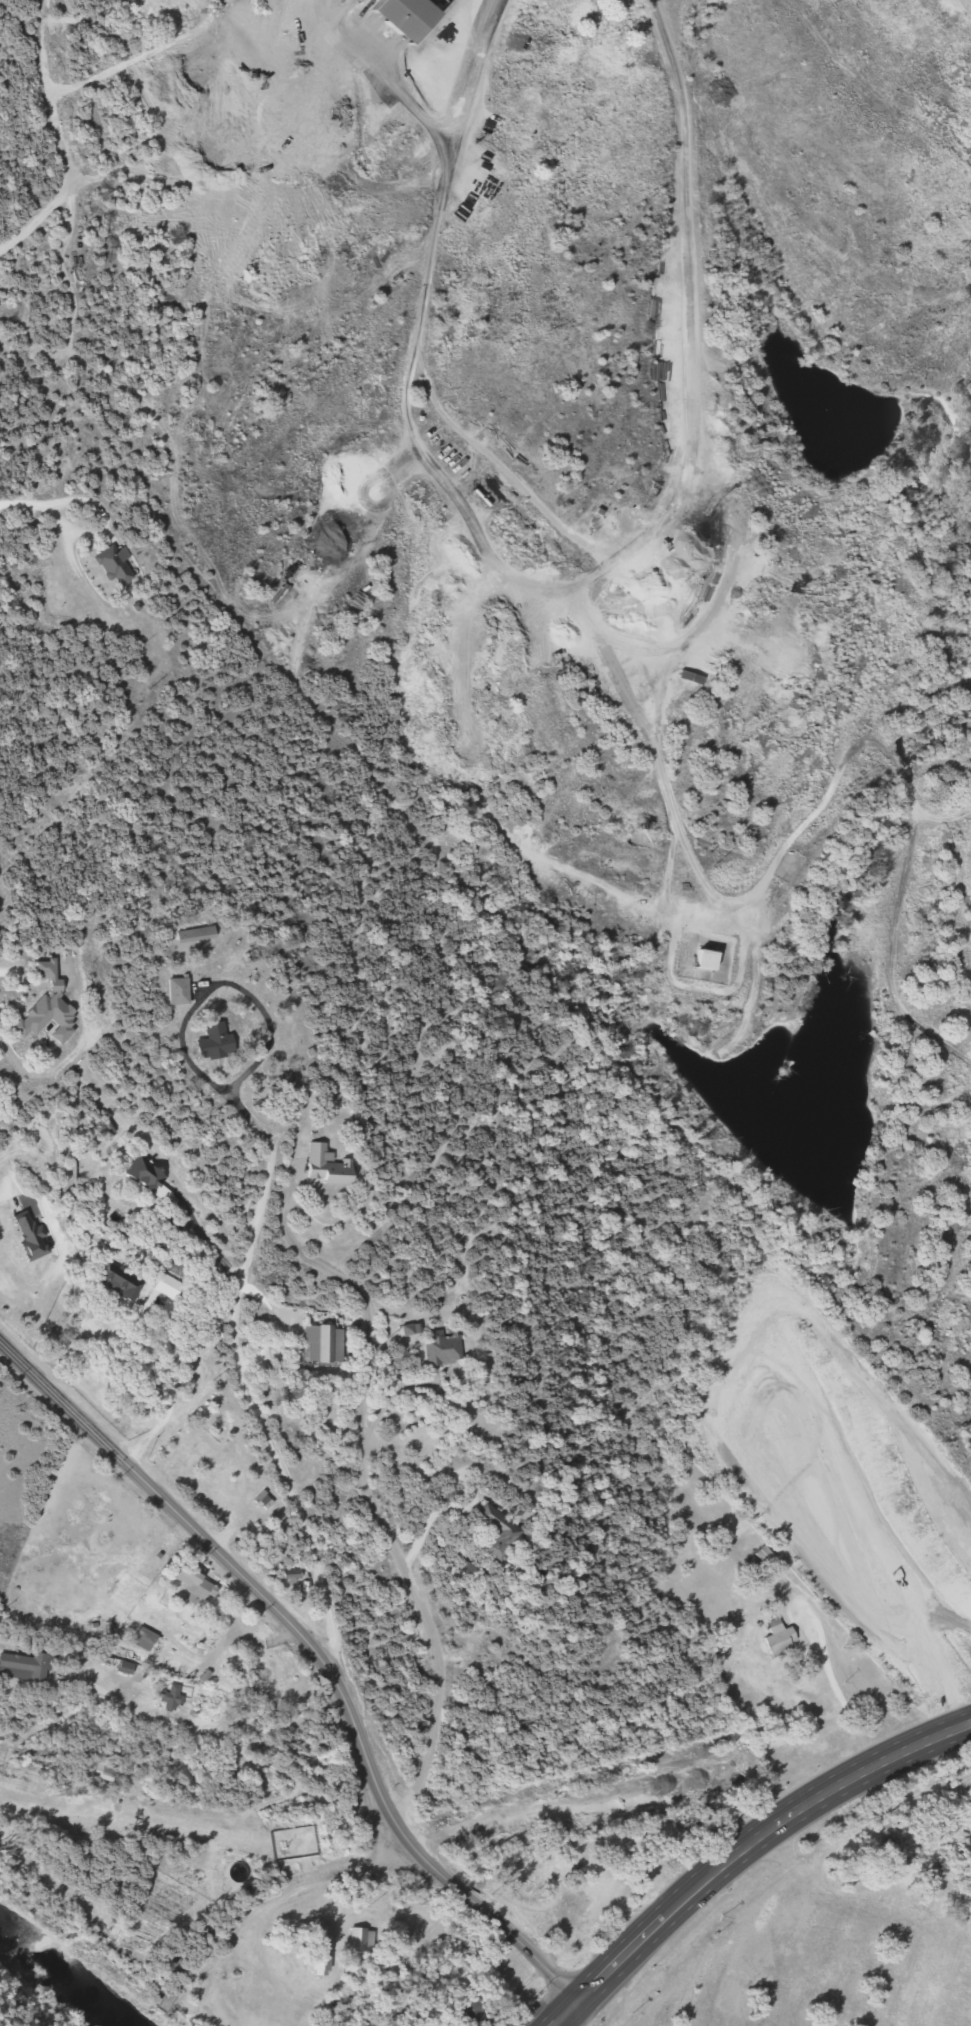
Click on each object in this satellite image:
building: (408, 16)
road: (50, 508)
building: (117, 564)
building: (631, 658)
building: (648, 697)
building: (198, 934)
building: (709, 959)
building: (51, 1008)
building: (218, 1042)
building: (329, 1166)
building: (150, 1176)
building: (180, 1269)
building: (324, 1344)
building: (444, 1348)
road: (377, 1511)
building: (497, 1531)
building: (766, 1556)
building: (295, 1575)
building: (197, 1583)
road: (149, 1624)
building: (148, 1635)
building: (782, 1639)
road: (320, 1656)
building: (24, 1667)
road: (650, 1765)
road: (751, 1852)
building: (583, 1895)
building: (324, 1942)
road: (907, 1965)
building: (476, 2007)
road: (577, 2021)

